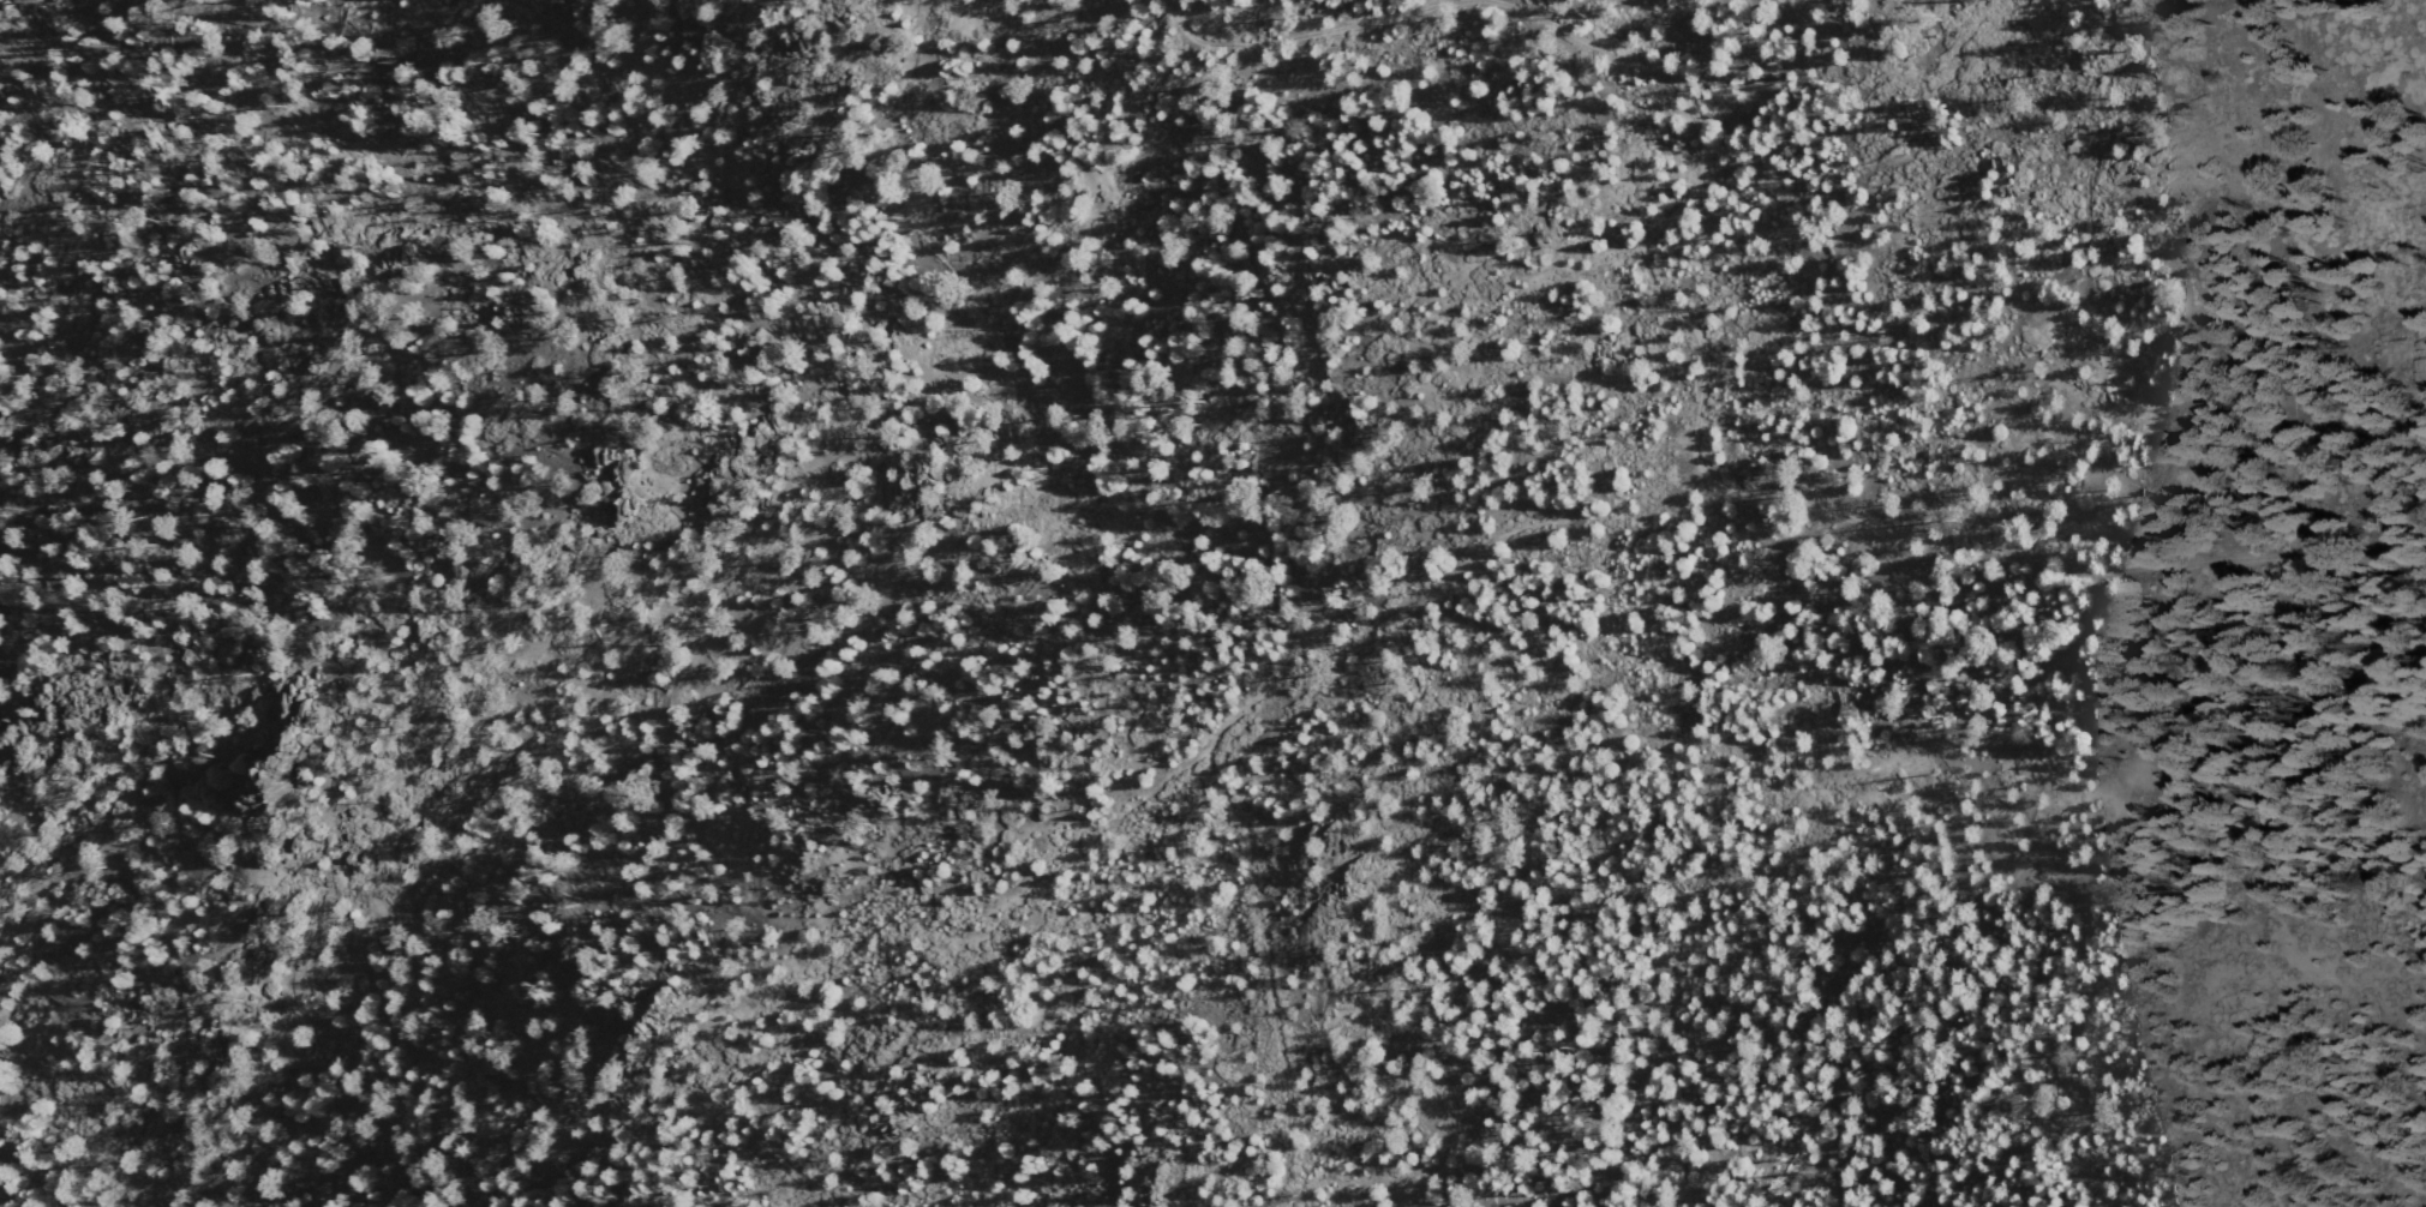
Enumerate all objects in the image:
road: (1299, 35)
road: (1726, 493)
road: (1223, 744)

